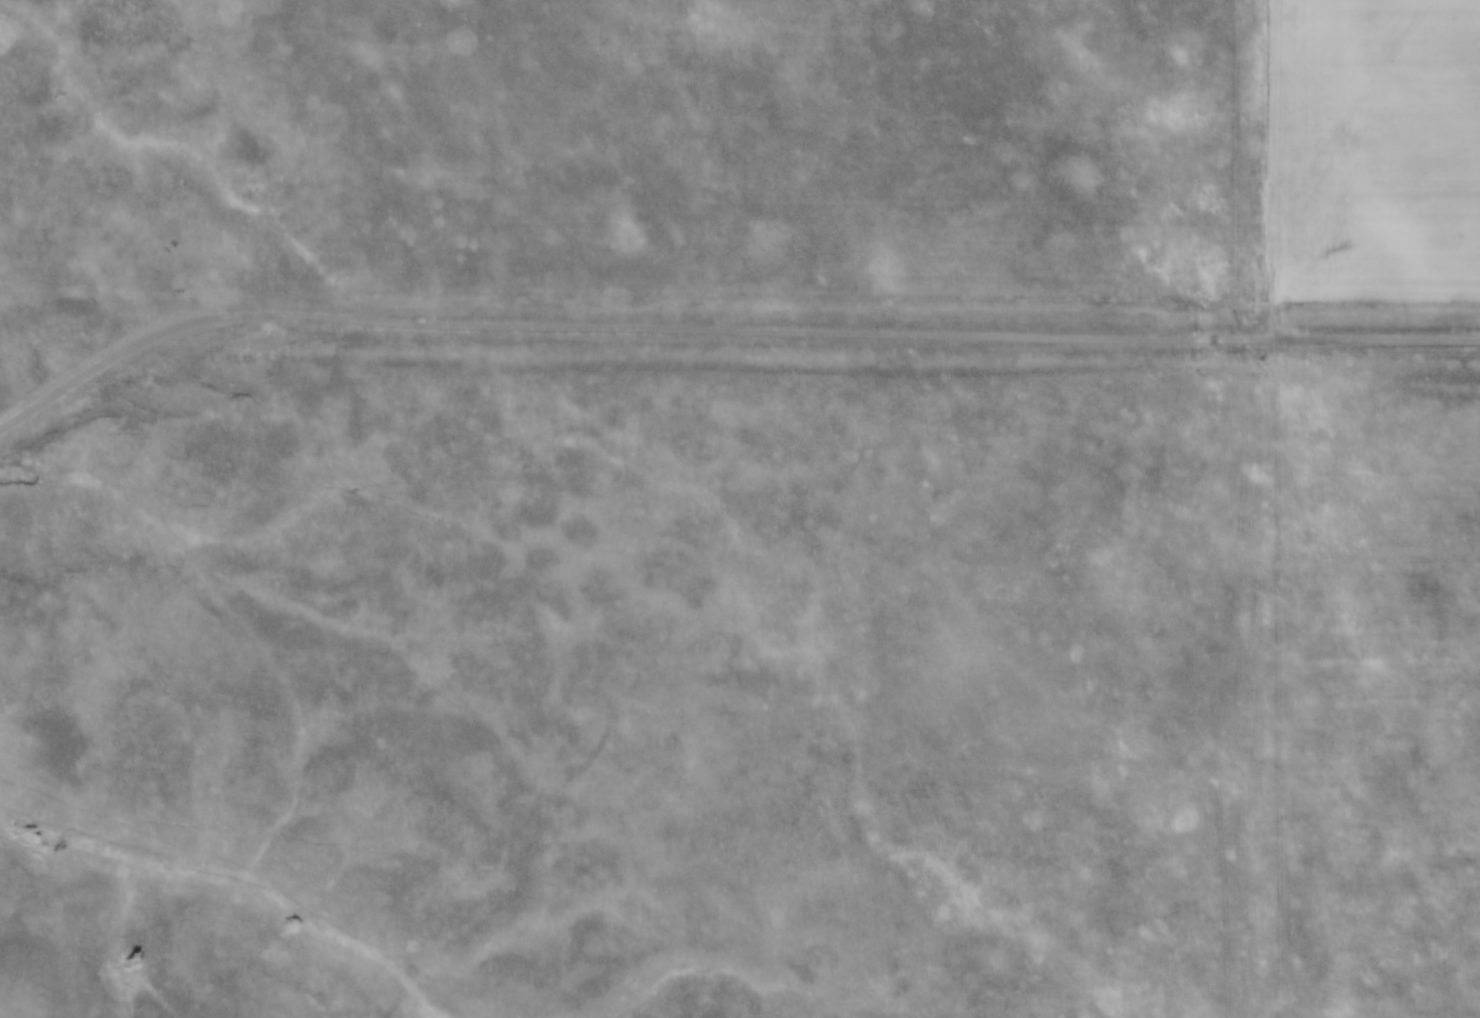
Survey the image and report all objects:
road: (1286, 168)
road: (726, 328)
road: (1236, 677)

